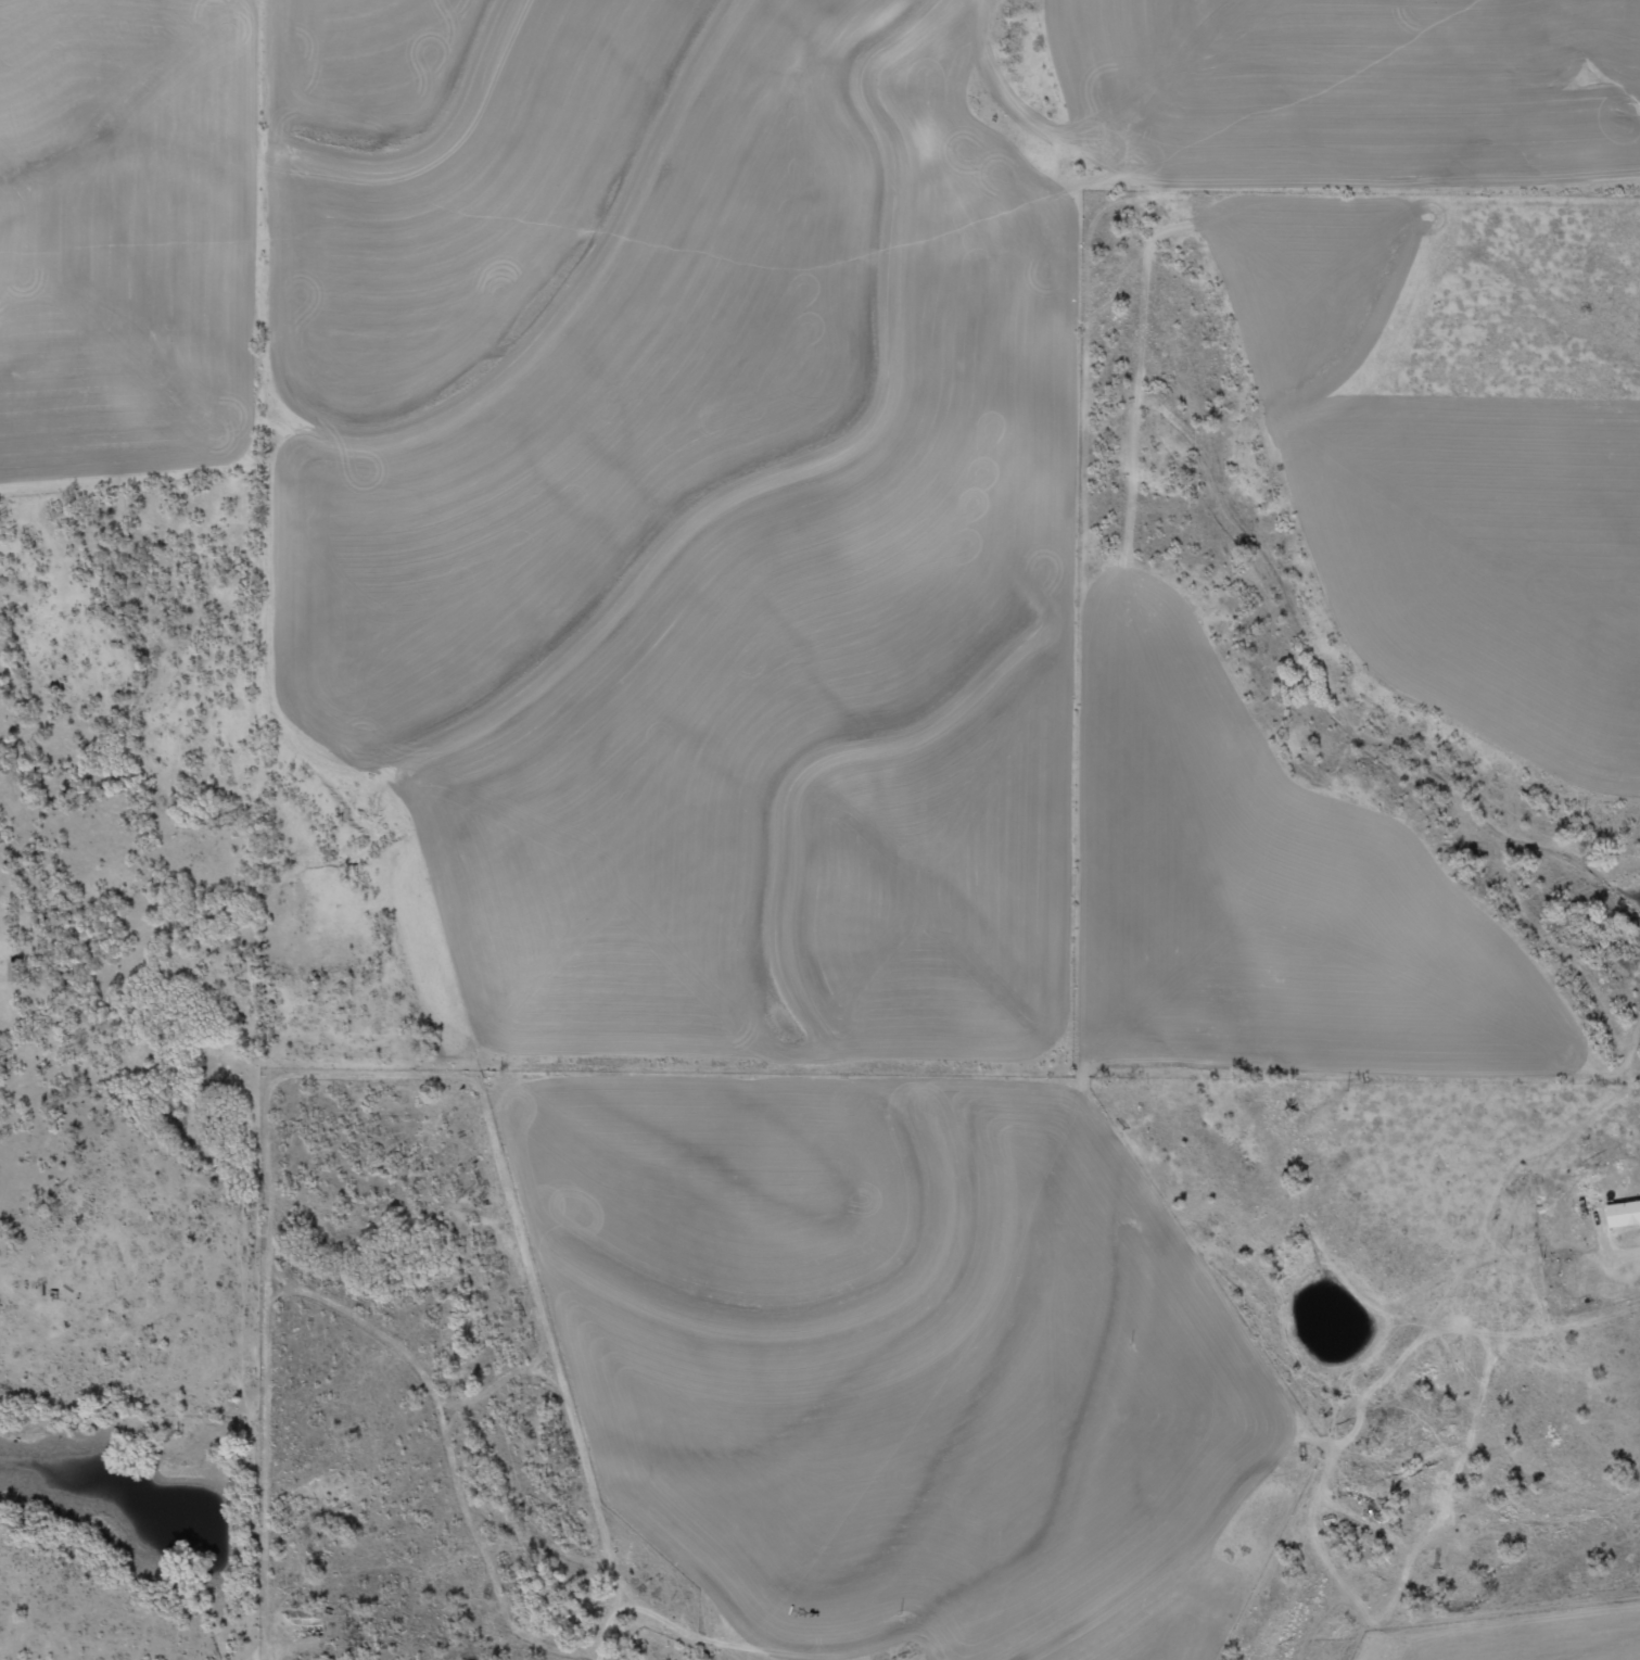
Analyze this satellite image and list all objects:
building: (17, 972)
building: (1625, 1213)
road: (1543, 1329)
building: (312, 1649)

